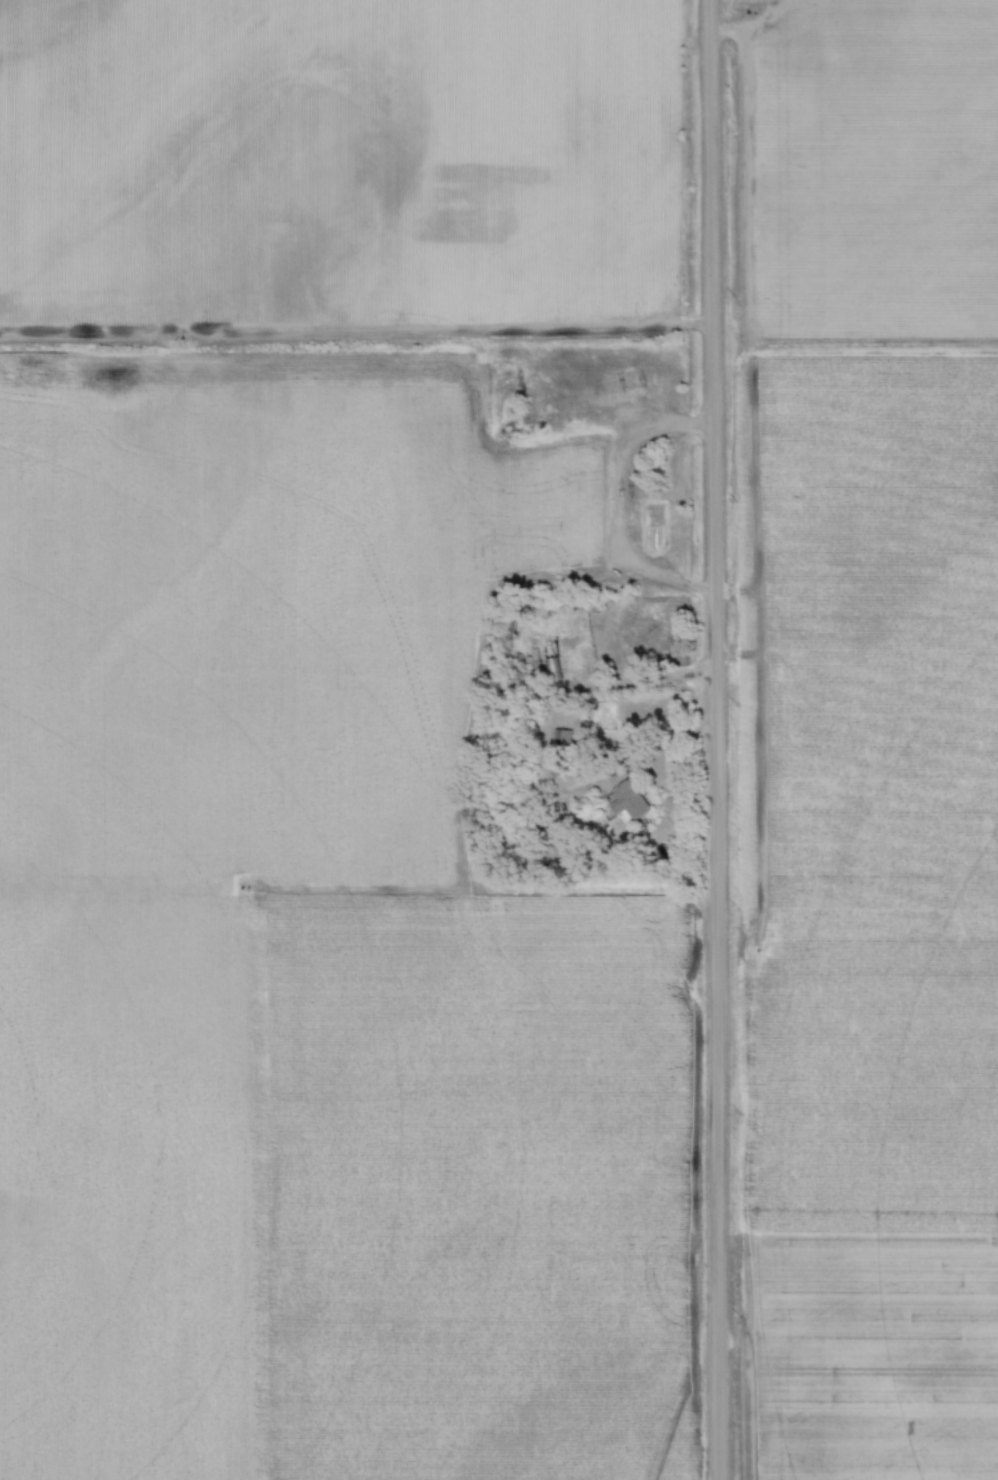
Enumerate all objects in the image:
road: (653, 426)
building: (652, 539)
building: (553, 670)
road: (712, 740)
building: (562, 752)
road: (544, 753)
building: (629, 801)

